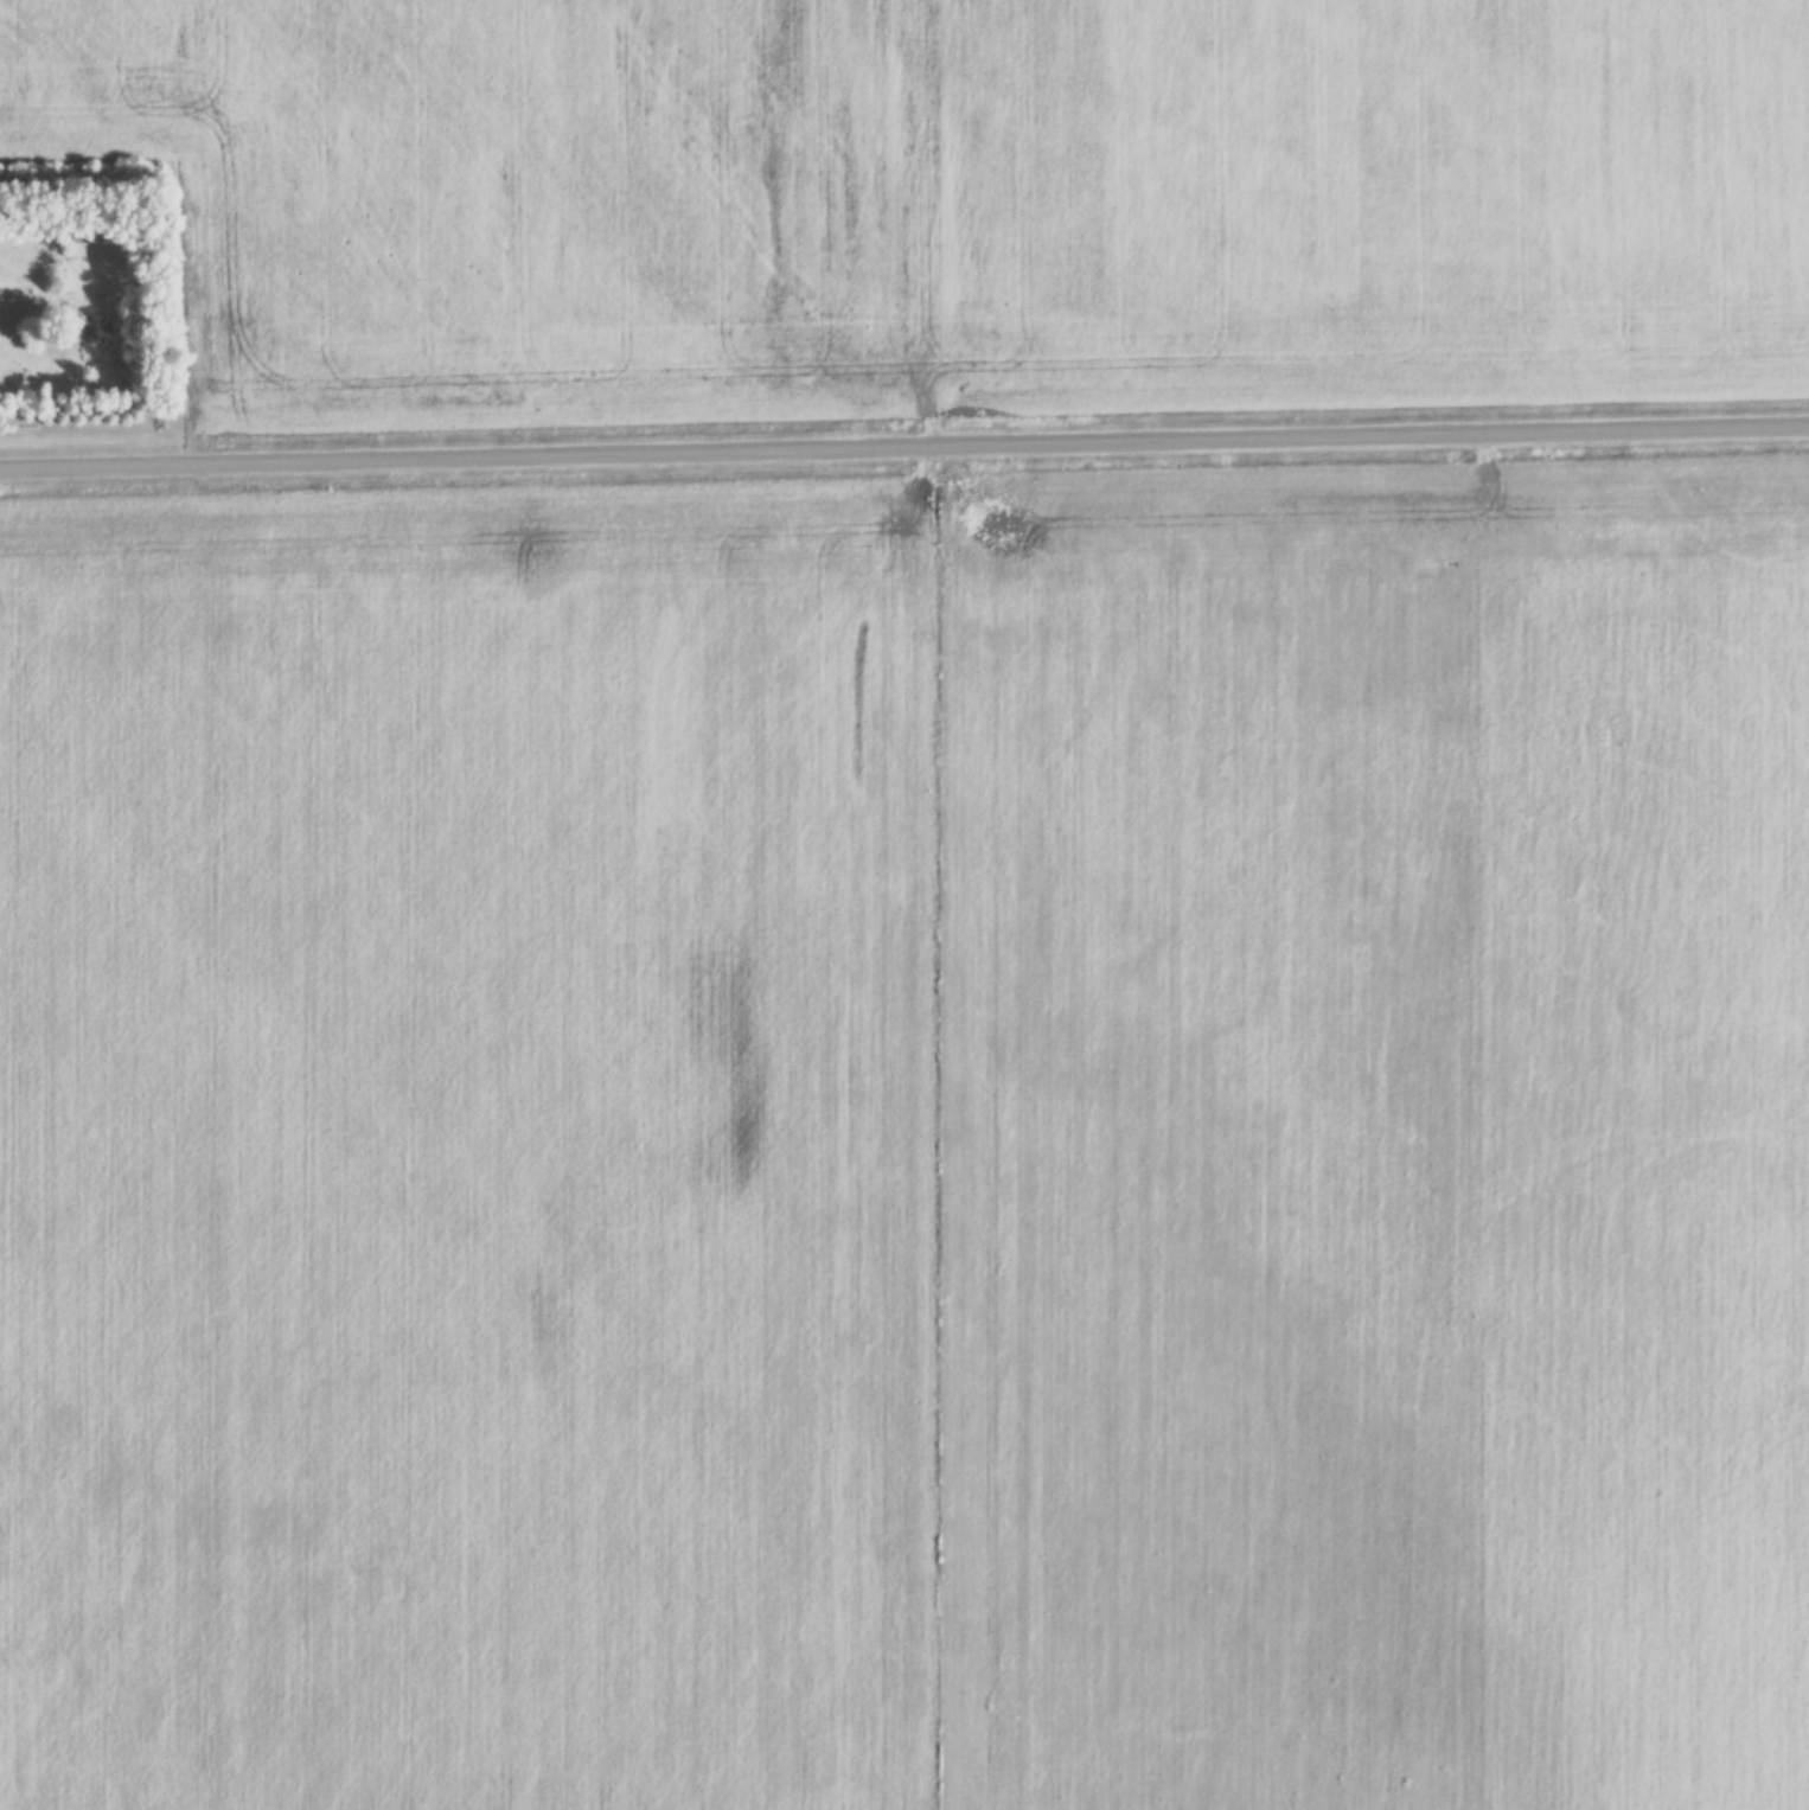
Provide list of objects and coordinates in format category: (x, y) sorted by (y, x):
building: (76, 247)
building: (4, 306)
road: (904, 449)
crop: (1375, 1137)

